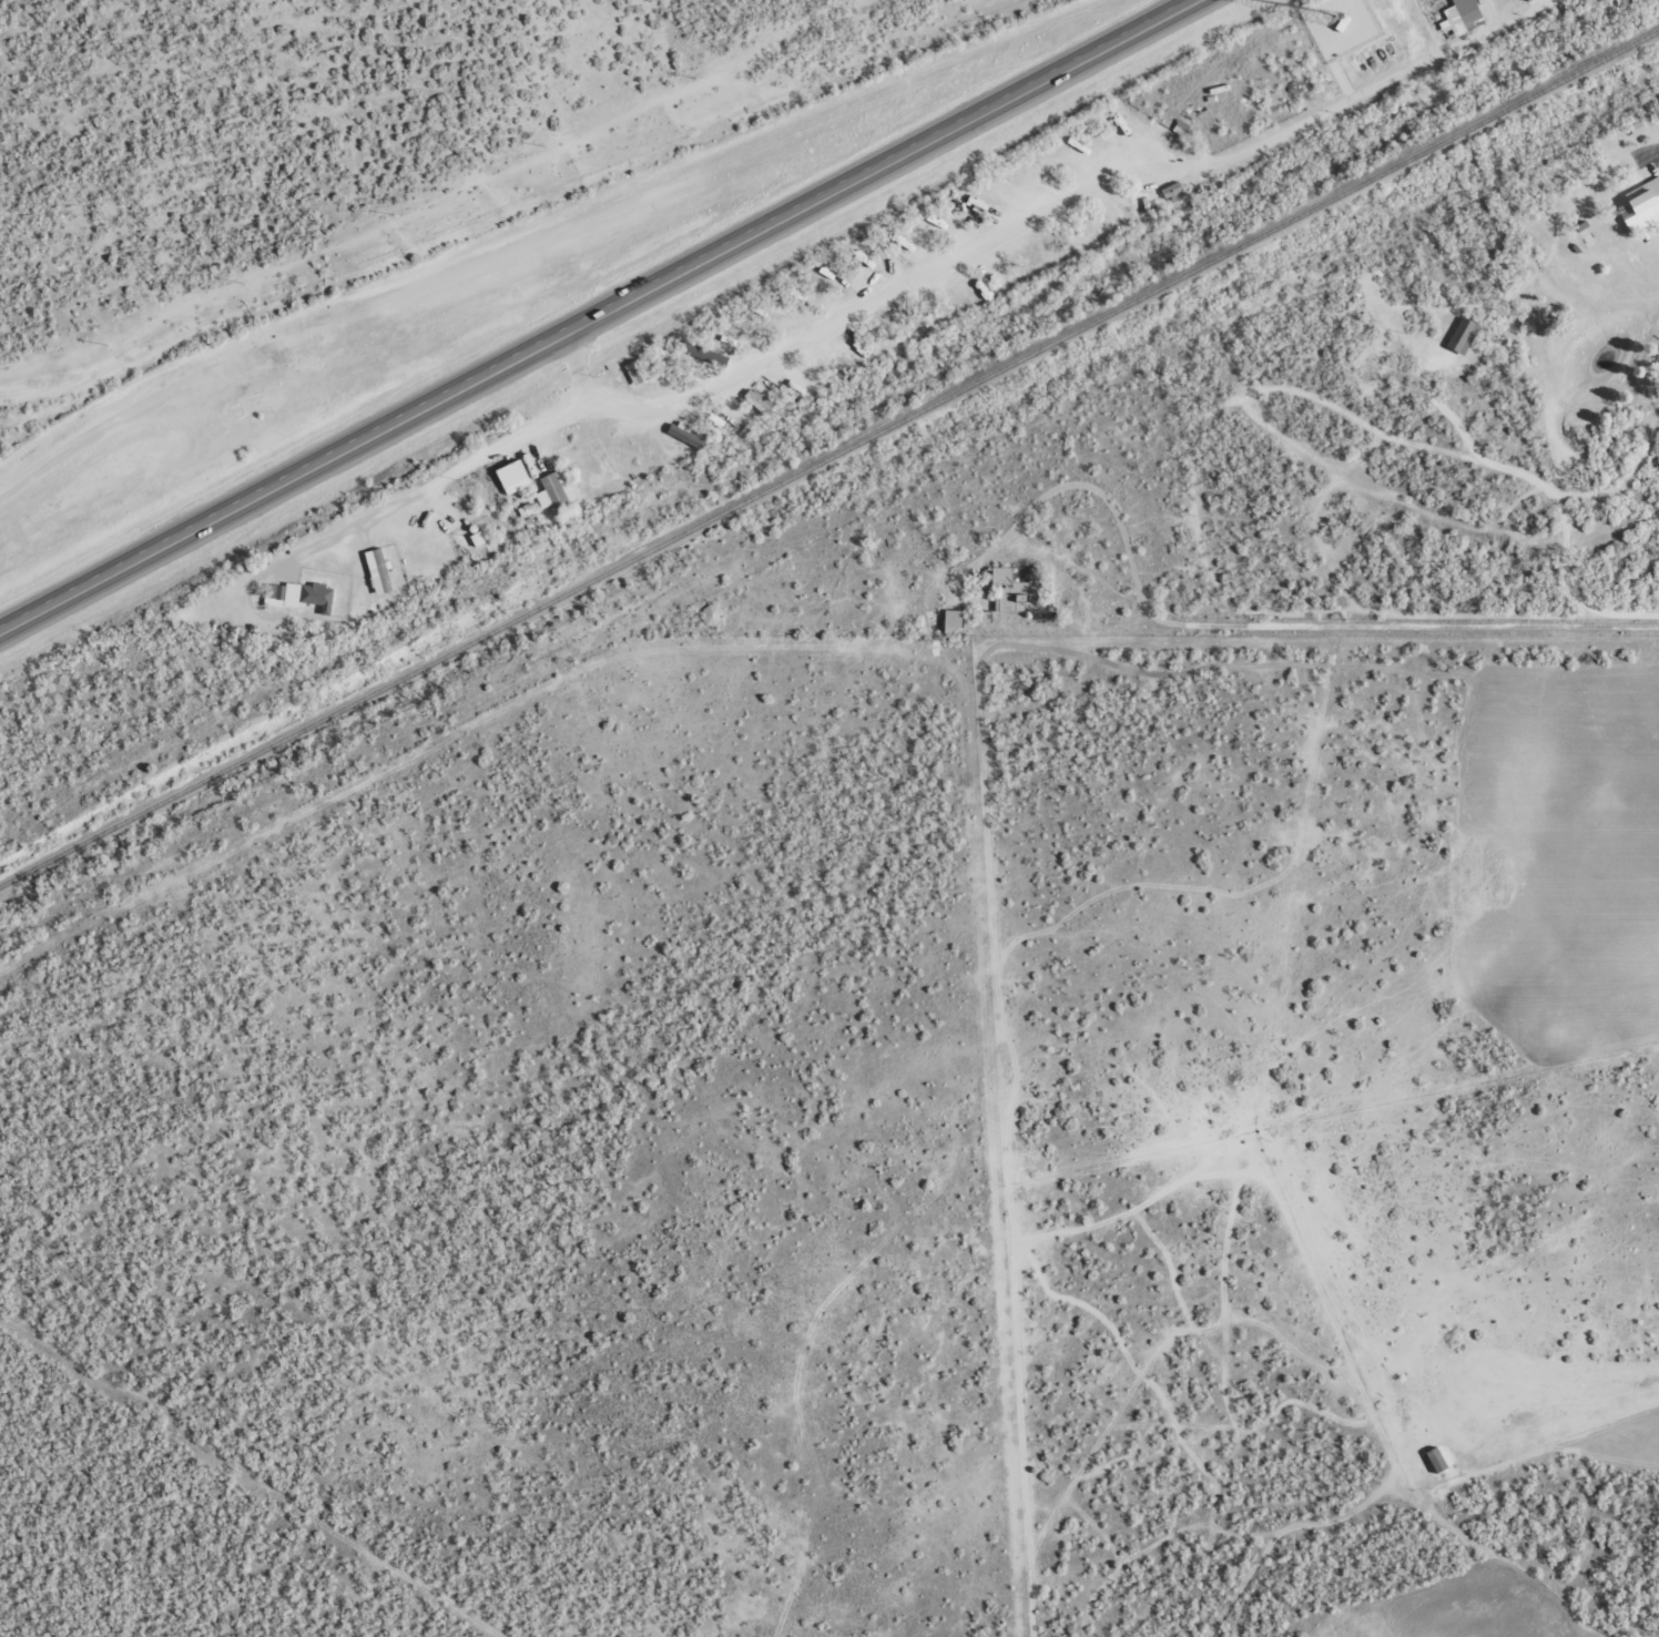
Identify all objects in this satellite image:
building: (1525, 0)
building: (1459, 17)
building: (1635, 128)
building: (1171, 189)
building: (1641, 204)
building: (1586, 233)
road: (599, 319)
building: (1460, 335)
building: (757, 399)
building: (683, 435)
railway: (828, 455)
building: (513, 472)
building: (553, 489)
building: (475, 536)
building: (377, 570)
building: (1006, 590)
building: (296, 594)
building: (950, 620)
building: (1434, 1458)

